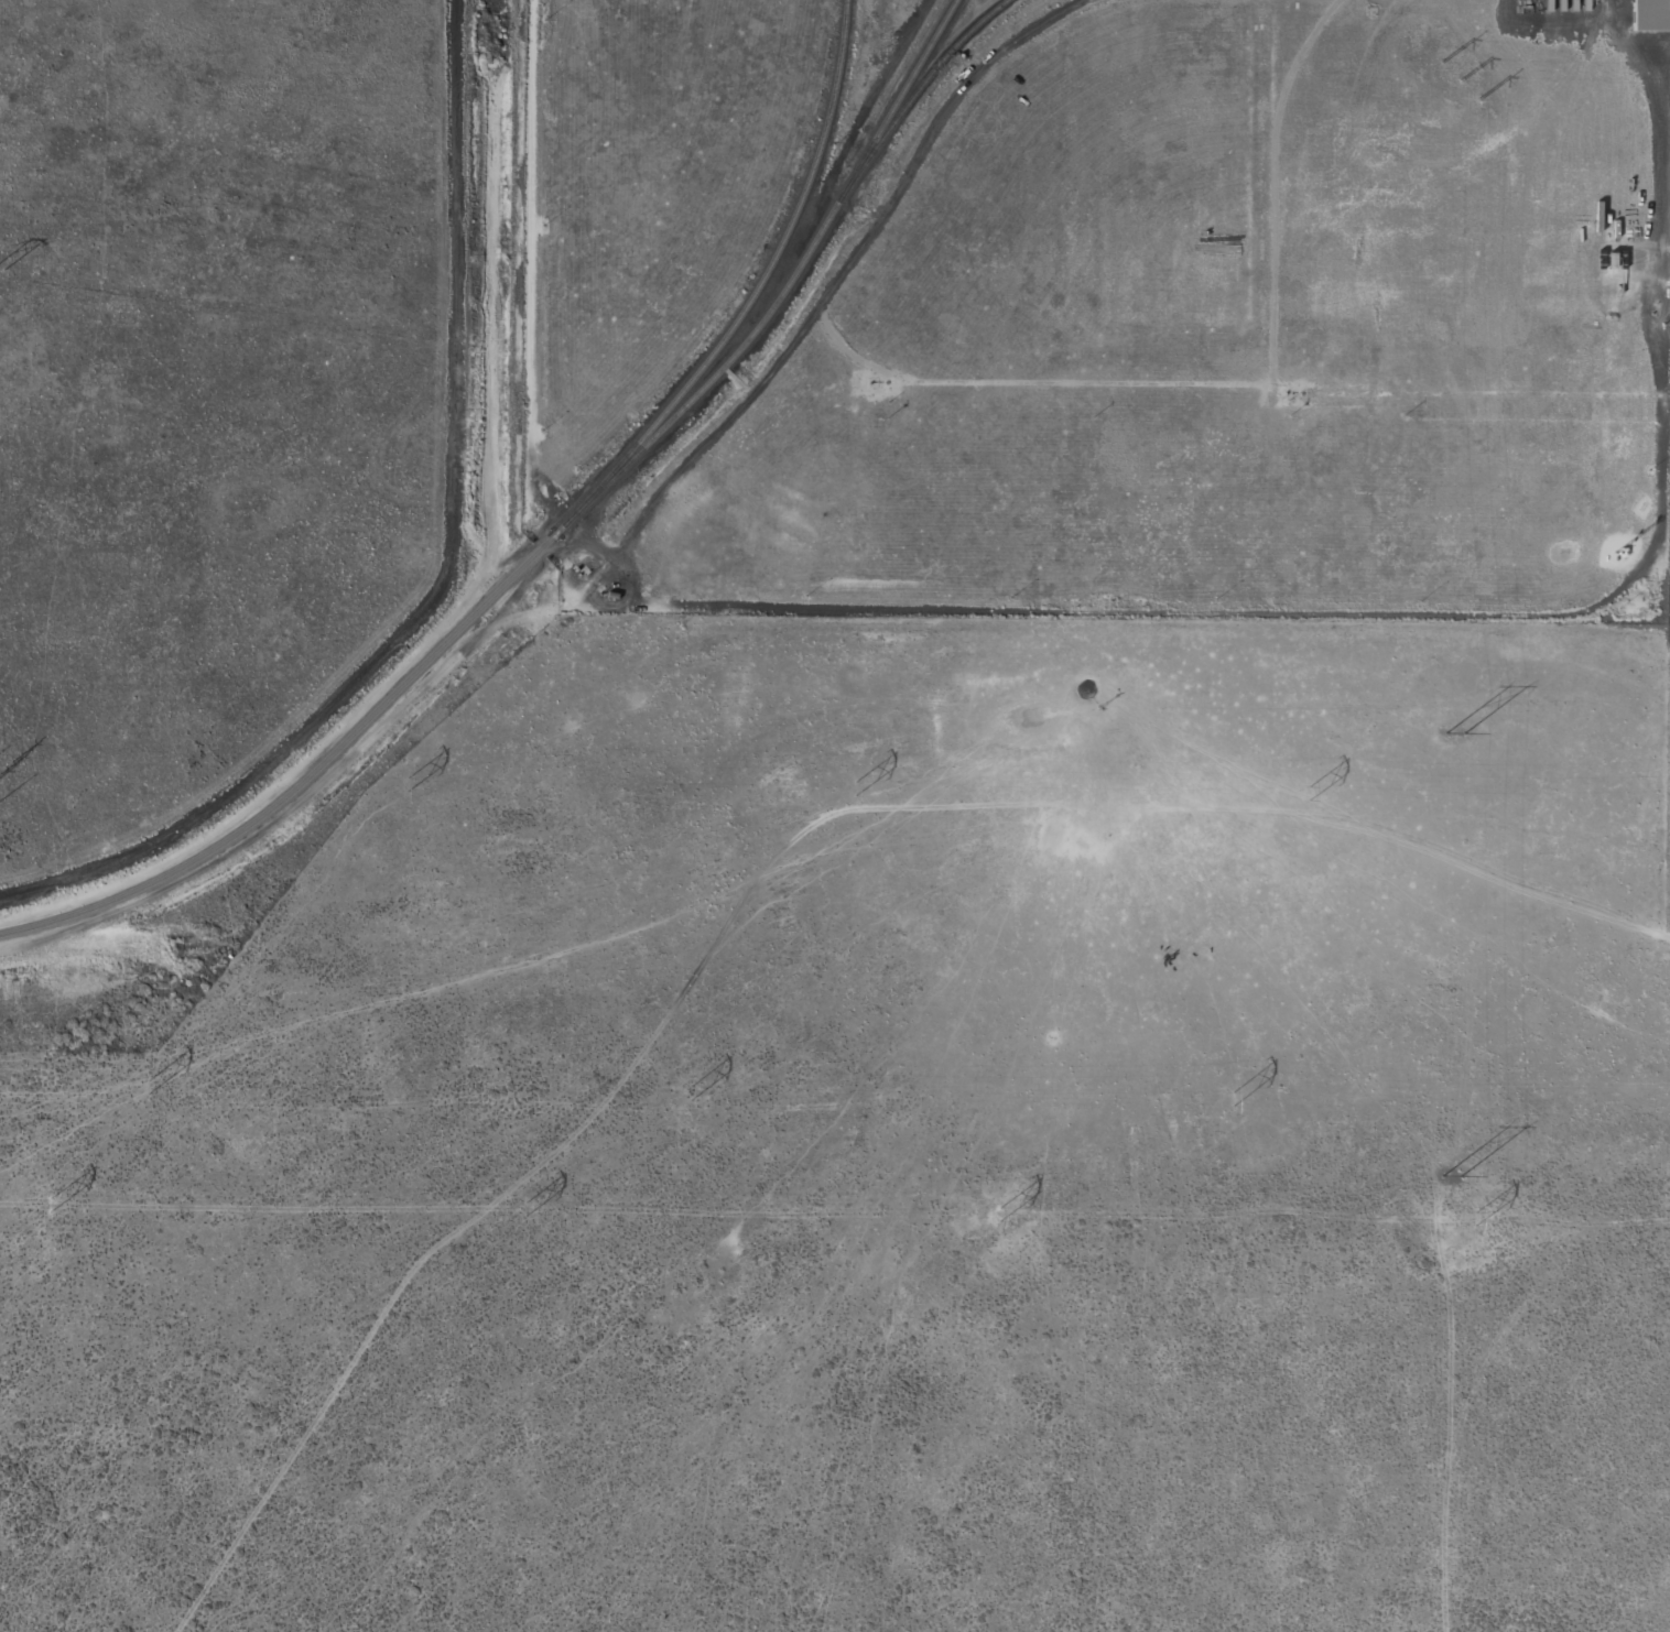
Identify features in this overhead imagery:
building: (1650, 15)
power tower: (1457, 81)
railway: (922, 84)
power substation: (1669, 224)
road: (527, 260)
railway: (785, 284)
railway: (753, 290)
power plant: (1097, 308)
power tower: (1449, 726)
railway: (307, 772)
power tower: (406, 782)
power tower: (857, 786)
power tower: (1309, 786)
power tower: (149, 1082)
power tower: (692, 1091)
power tower: (1232, 1098)
power tower: (1453, 1174)
power tower: (48, 1206)
power tower: (521, 1209)
power tower: (998, 1214)
power tower: (1474, 1220)

